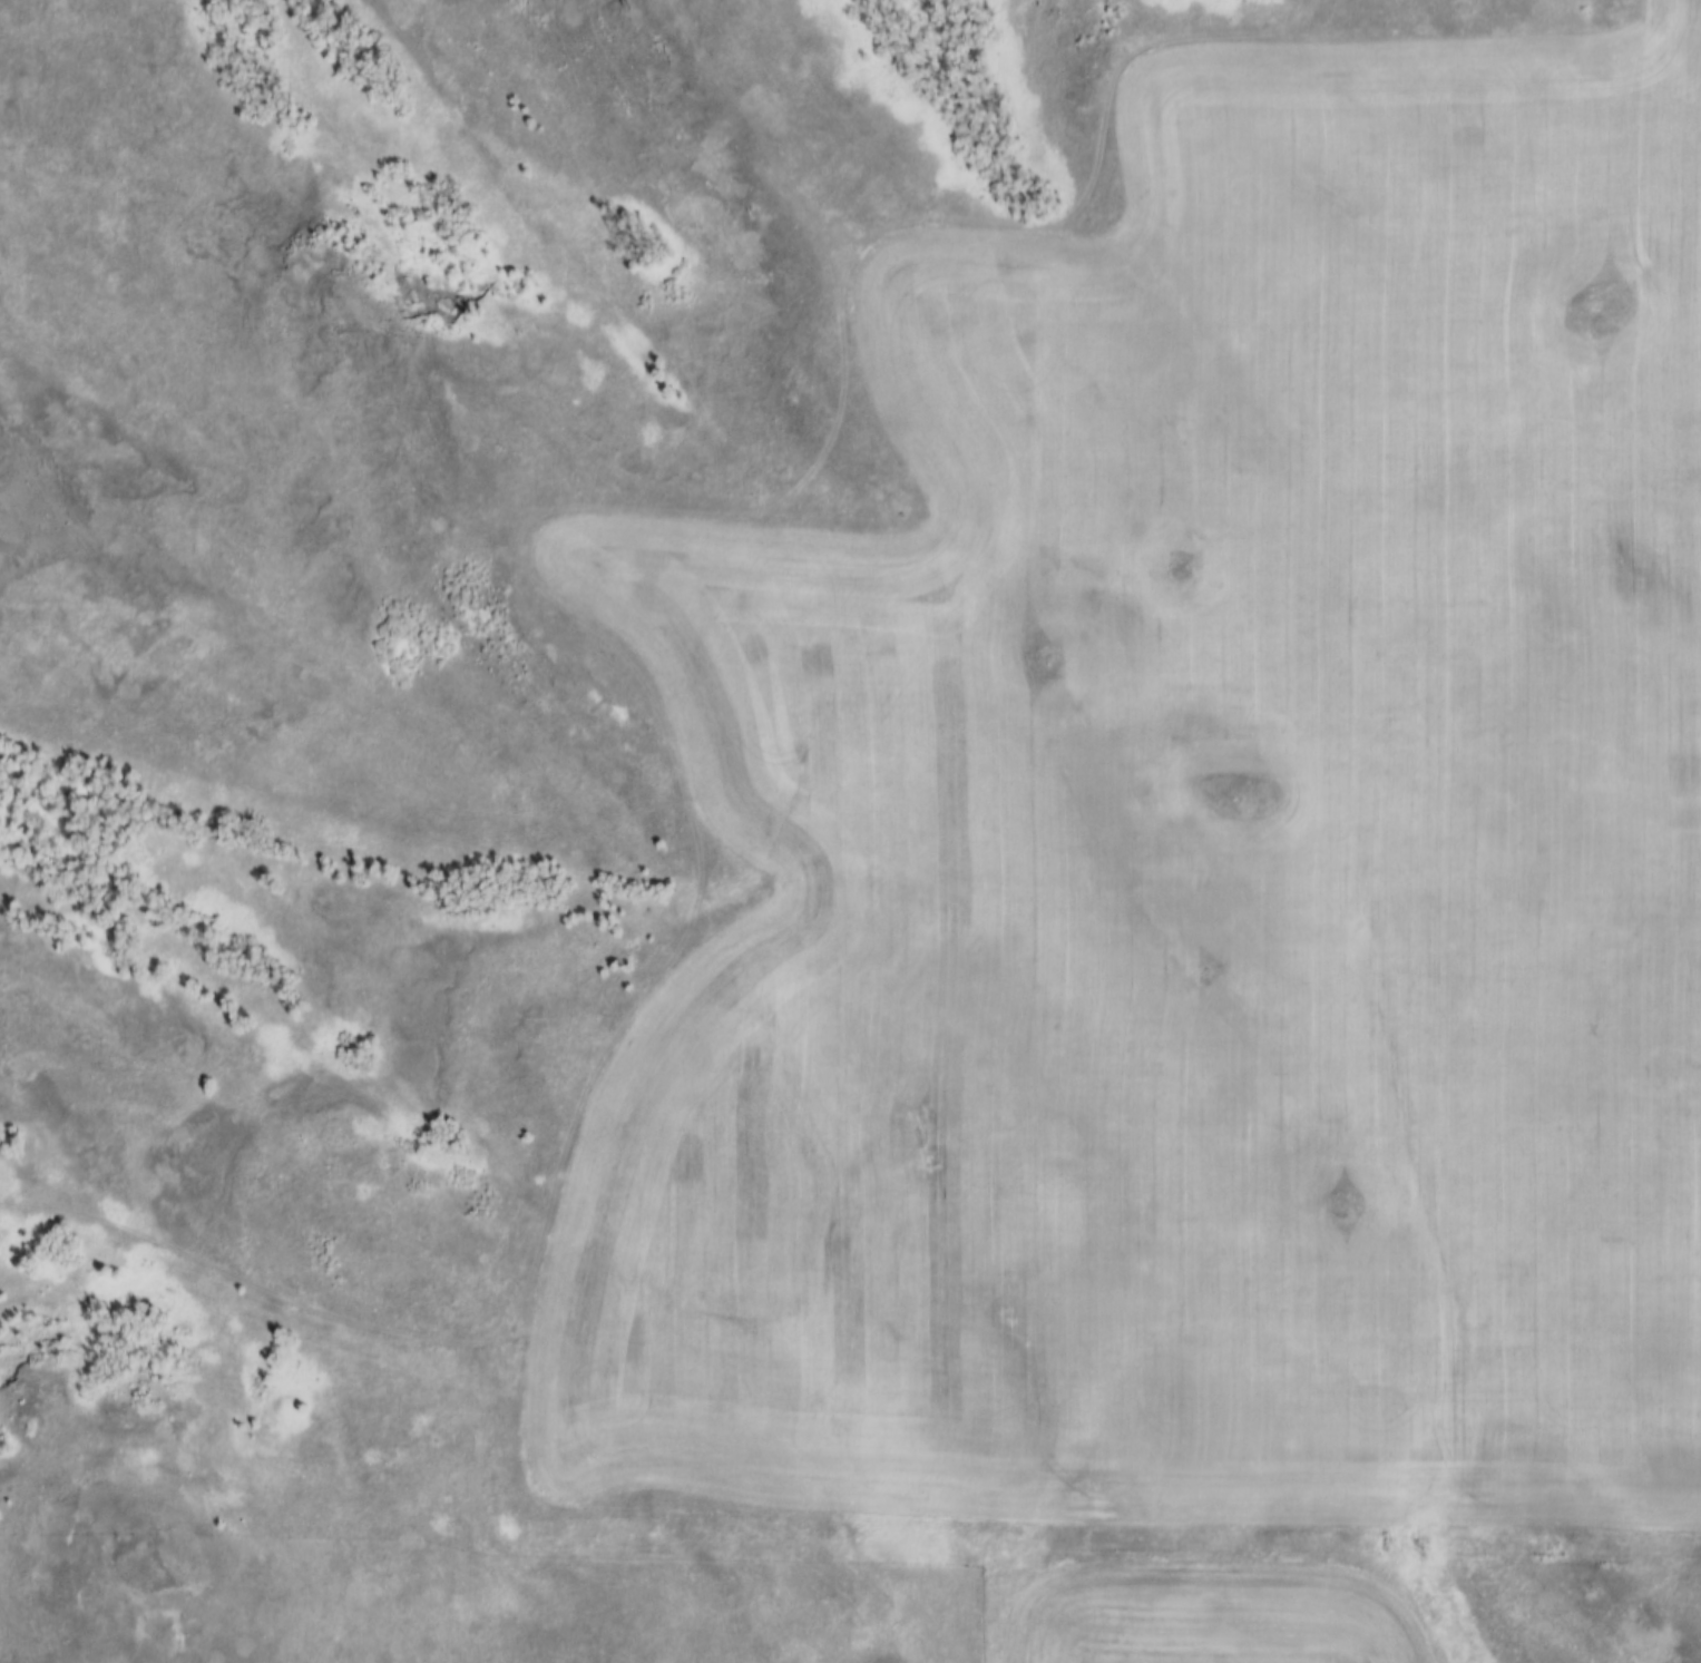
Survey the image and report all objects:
road: (194, 1255)

